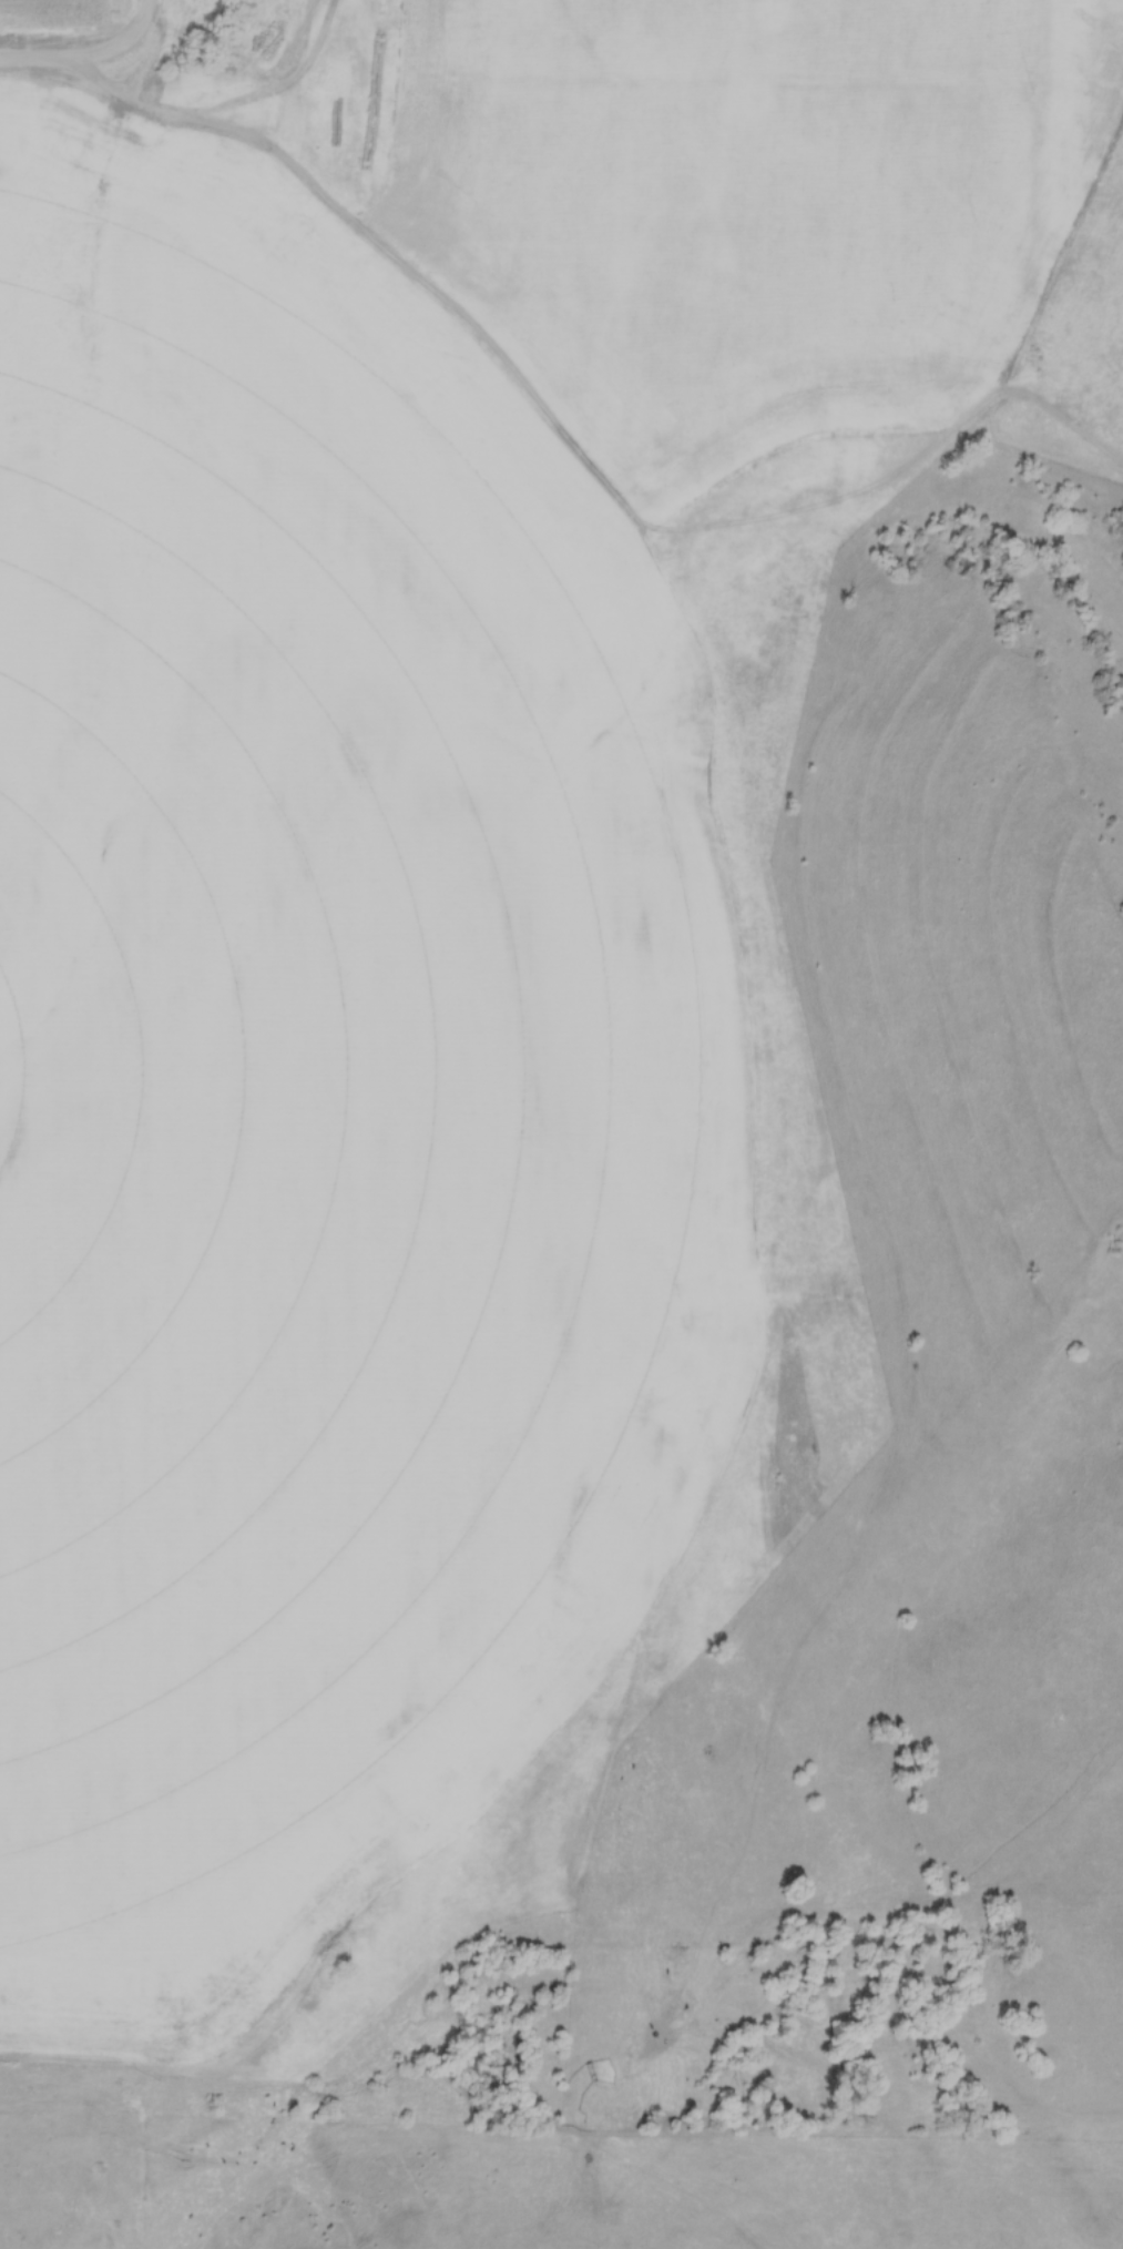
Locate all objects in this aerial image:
road: (140, 22)
road: (62, 54)

